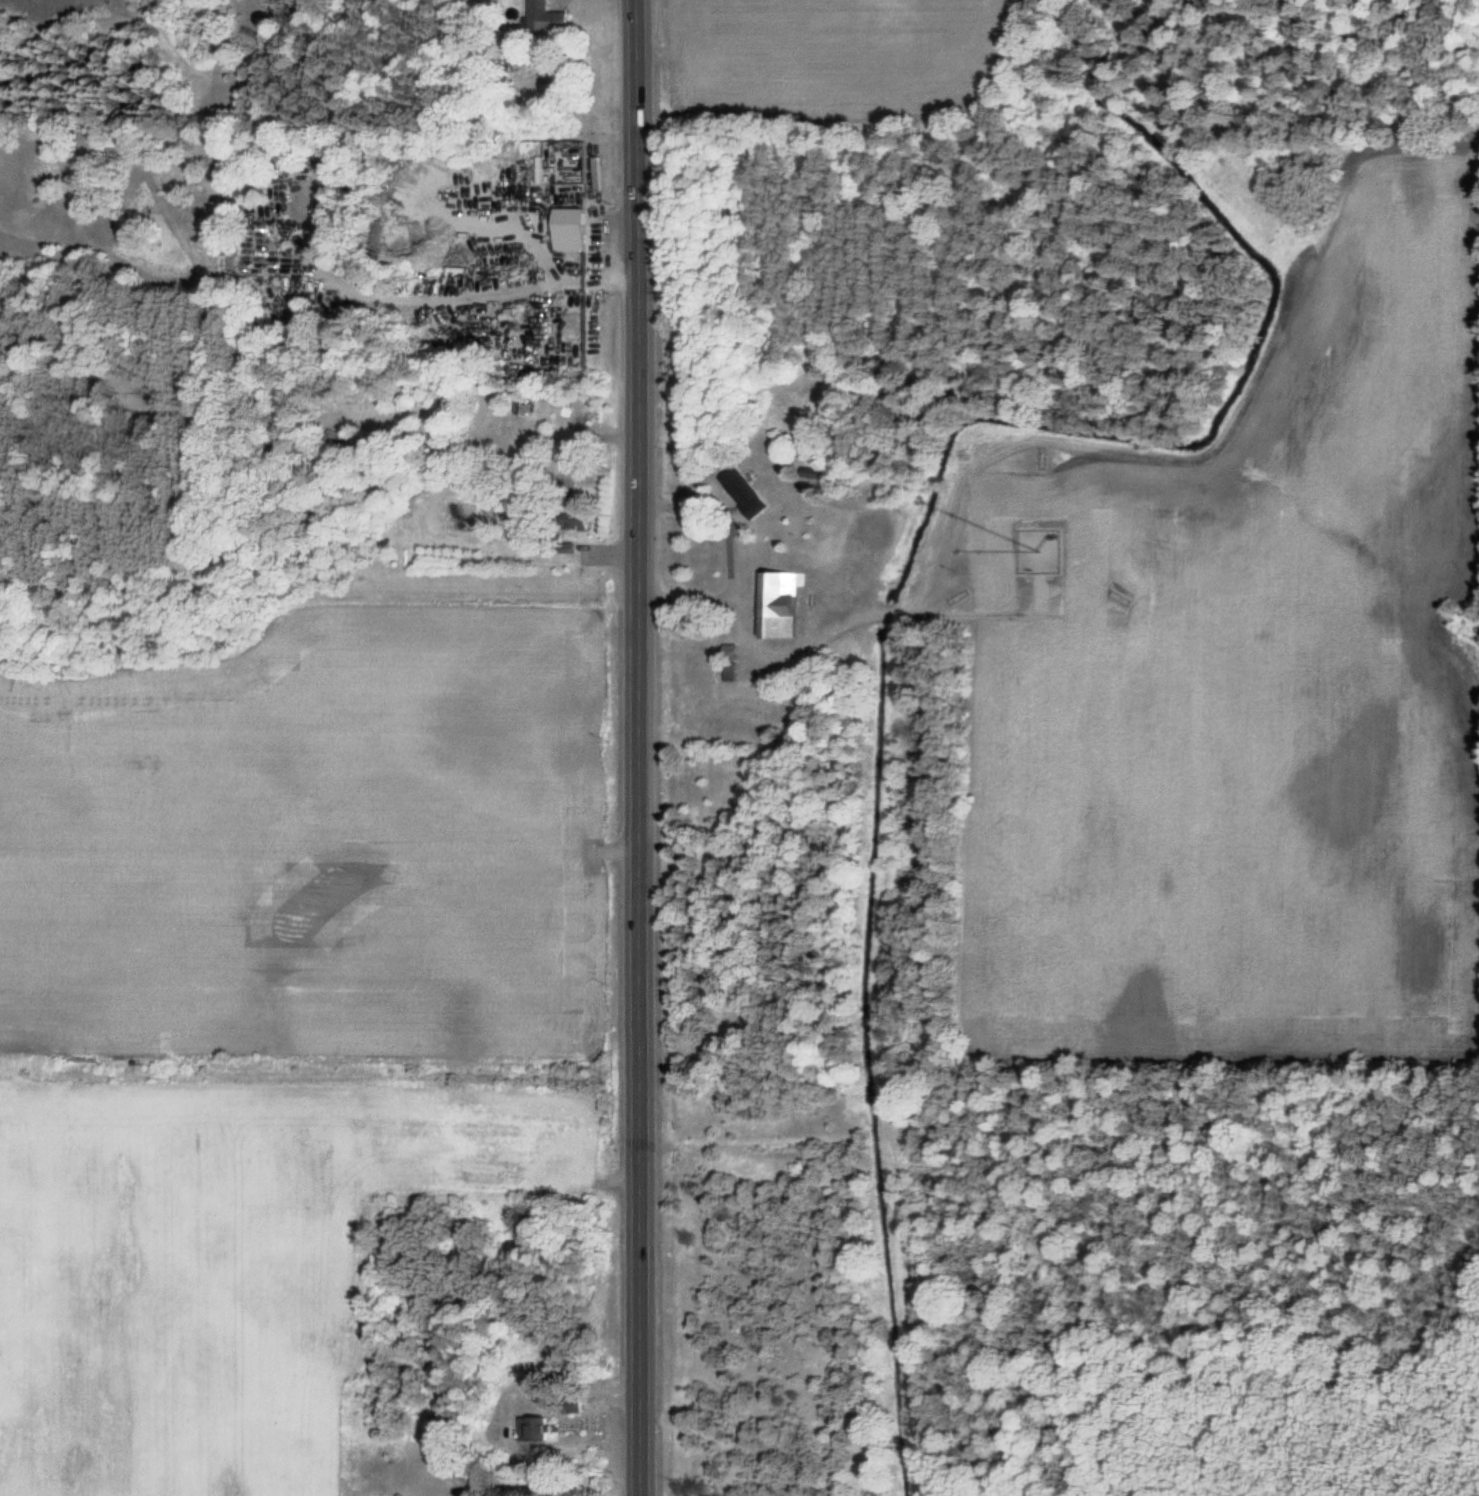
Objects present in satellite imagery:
building: (548, 17)
building: (565, 171)
building: (546, 401)
building: (748, 491)
building: (582, 518)
building: (787, 604)
building: (736, 669)
road: (638, 748)
building: (540, 1429)

